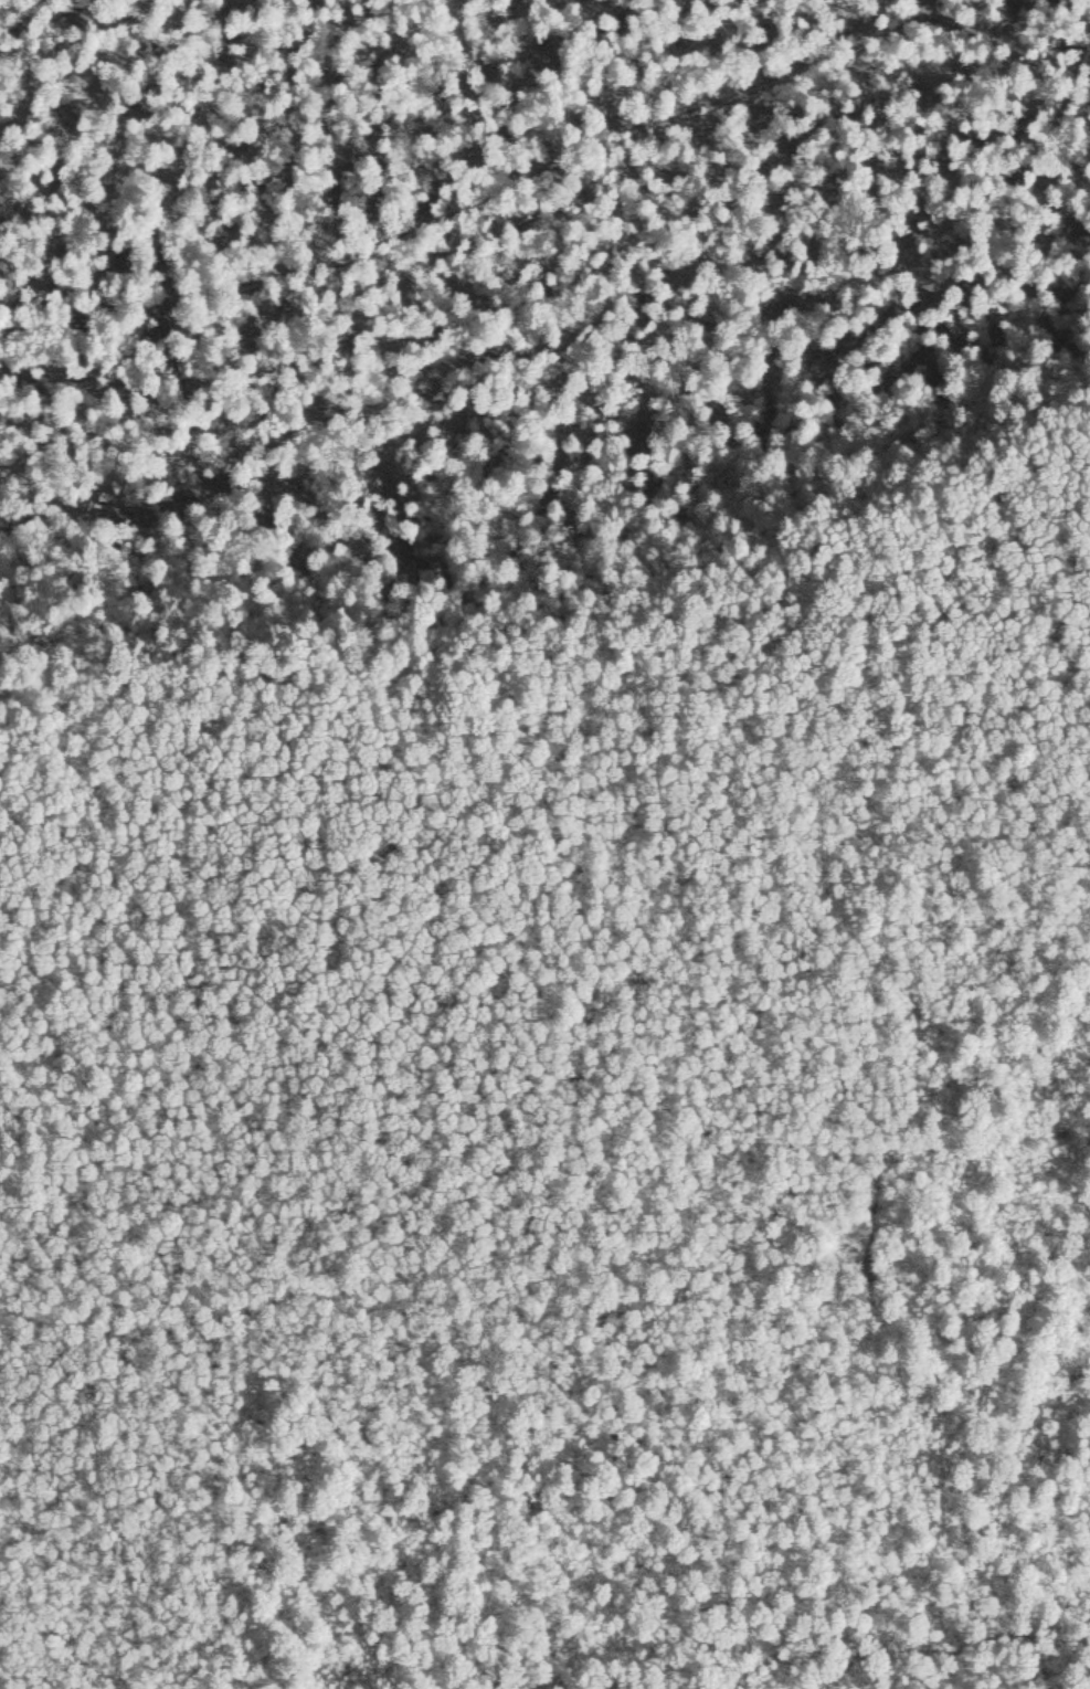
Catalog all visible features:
road: (472, 197)

